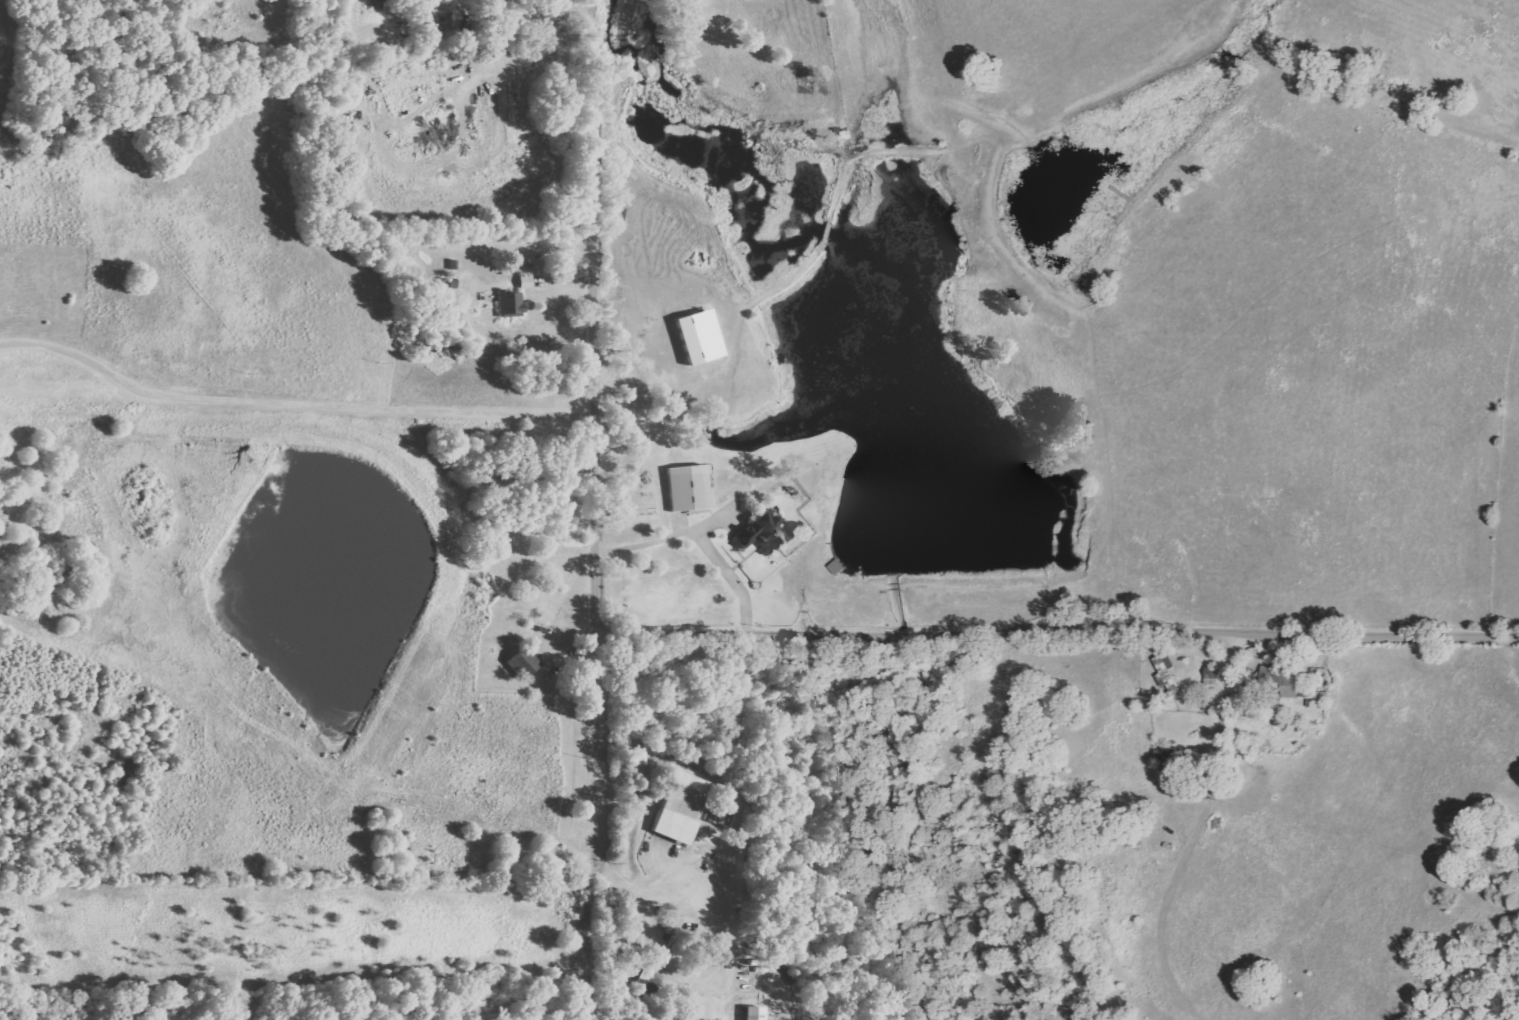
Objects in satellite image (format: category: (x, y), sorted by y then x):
building: (524, 282)
building: (510, 303)
road: (600, 320)
building: (697, 337)
road: (299, 405)
building: (687, 488)
building: (761, 535)
road: (1057, 635)
building: (521, 662)
building: (1165, 673)
building: (1287, 679)
building: (1167, 753)
building: (636, 763)
building: (681, 807)
building: (752, 1013)

